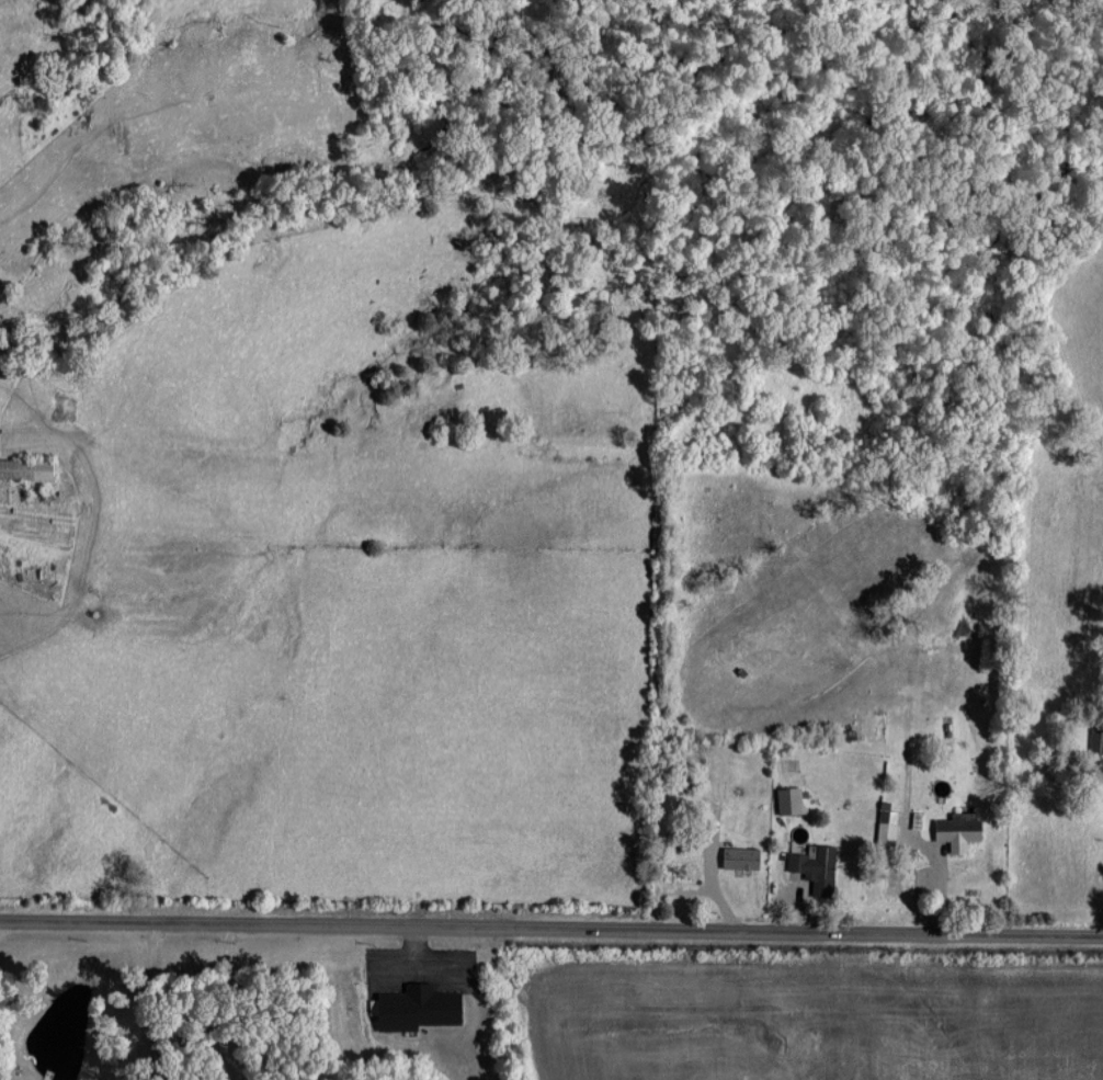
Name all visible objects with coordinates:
building: (26, 467)
building: (1096, 737)
building: (791, 799)
building: (887, 826)
building: (958, 828)
building: (741, 856)
building: (816, 866)
road: (550, 926)
road: (144, 998)
building: (418, 1007)

